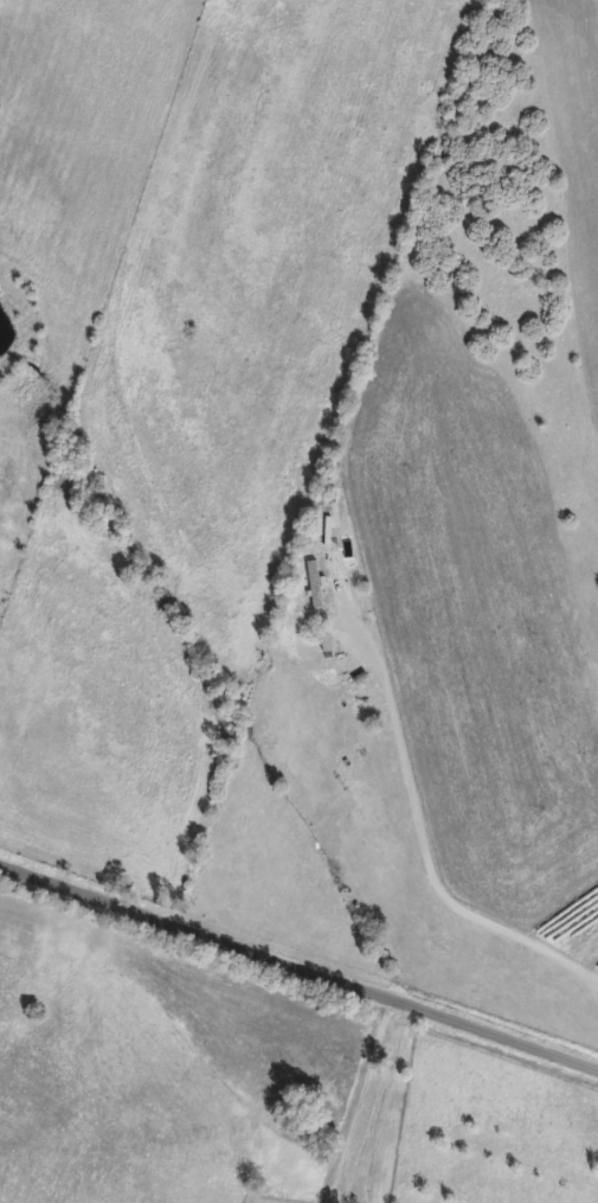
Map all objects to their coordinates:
building: (314, 583)
road: (298, 968)

